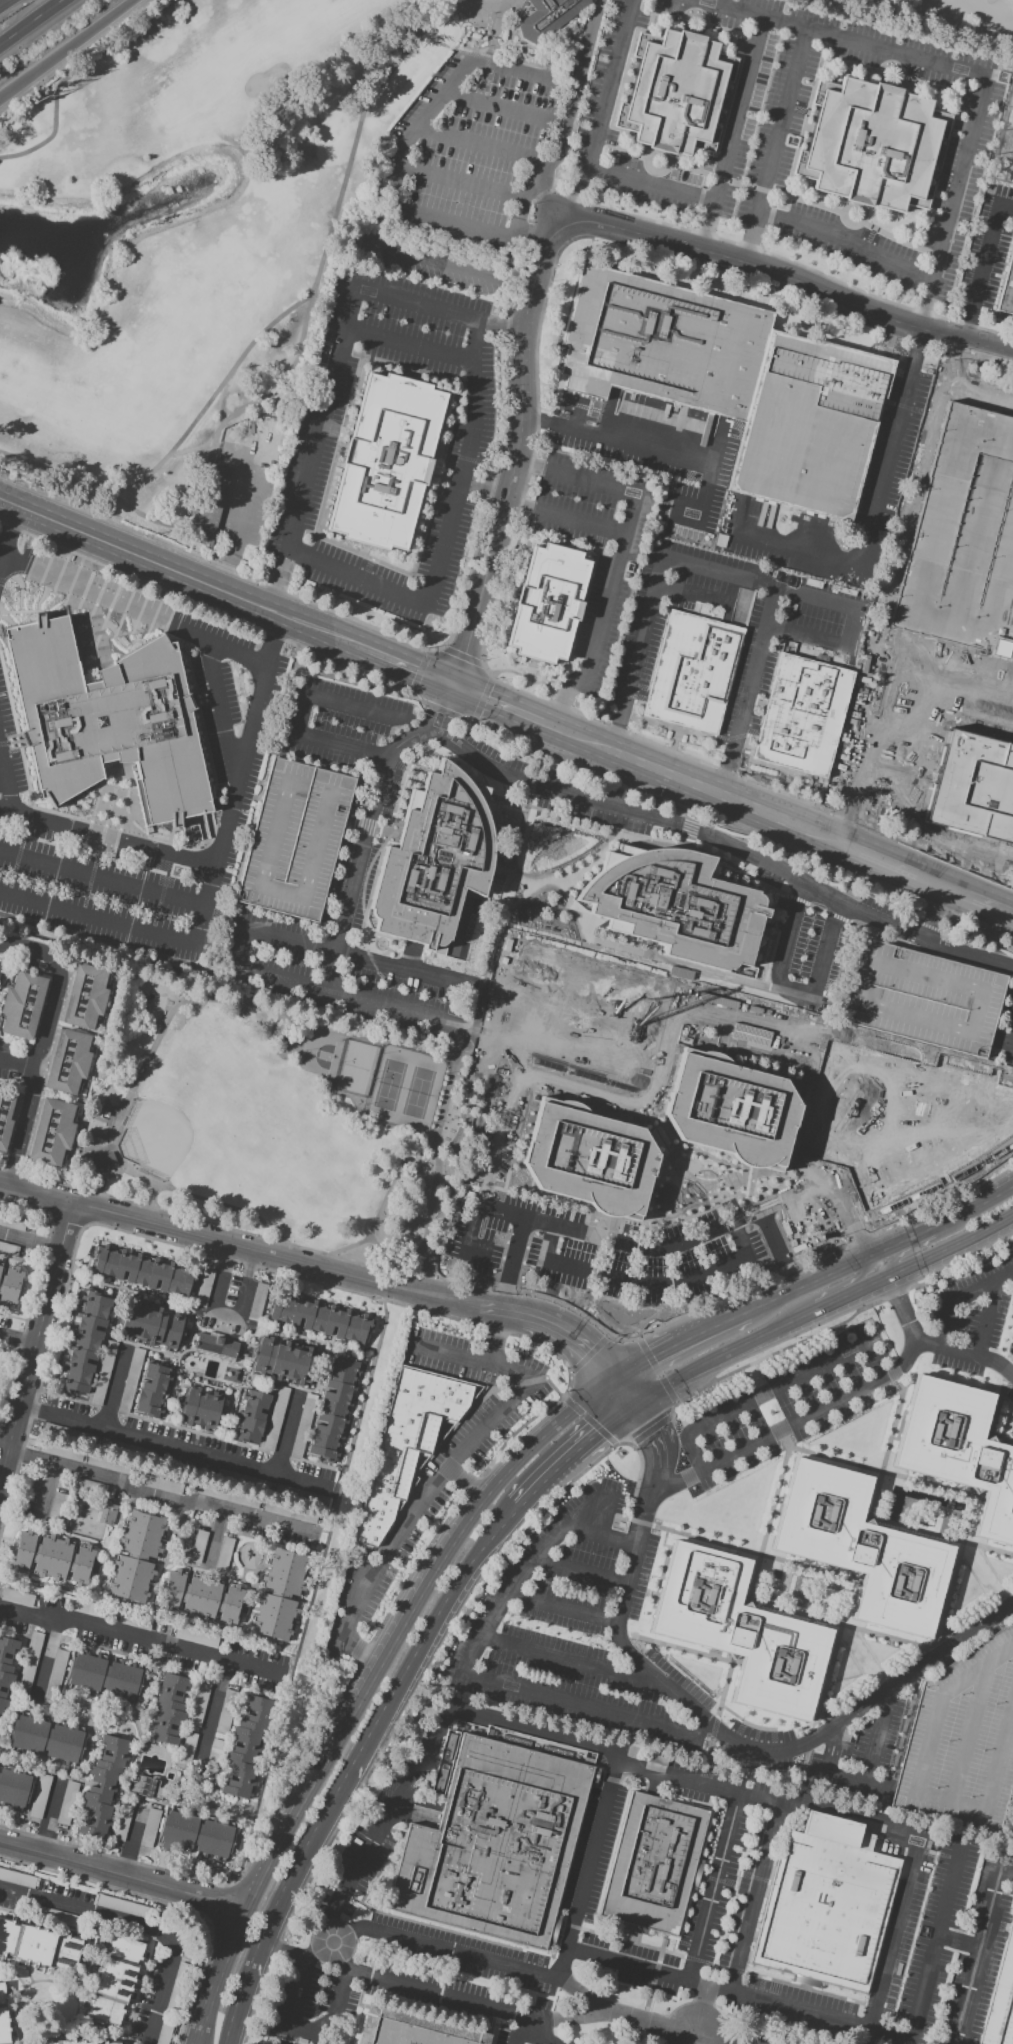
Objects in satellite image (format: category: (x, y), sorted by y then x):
road: (3, 1)
building: (547, 17)
park: (941, 19)
road: (30, 21)
road: (73, 44)
road: (965, 71)
road: (70, 75)
building: (675, 92)
road: (7, 94)
road: (504, 106)
road: (602, 115)
road: (564, 118)
road: (730, 134)
road: (483, 144)
building: (871, 145)
park: (1004, 145)
road: (775, 146)
parking lot: (474, 150)
road: (395, 165)
road: (461, 180)
road: (651, 183)
park: (243, 223)
road: (848, 241)
road: (434, 261)
road: (983, 266)
road: (789, 278)
road: (743, 283)
building: (1006, 288)
road: (735, 299)
road: (281, 314)
road: (500, 325)
building: (661, 343)
road: (407, 344)
building: (810, 426)
road: (652, 449)
road: (314, 450)
road: (516, 455)
building: (386, 462)
road: (463, 473)
road: (484, 486)
road: (521, 492)
building: (210, 504)
road: (878, 509)
road: (564, 519)
road: (7, 530)
building: (962, 537)
road: (619, 554)
road: (178, 571)
road: (725, 574)
building: (548, 603)
road: (133, 608)
road: (211, 609)
road: (352, 618)
road: (461, 655)
road: (406, 667)
road: (417, 672)
building: (690, 673)
traffic signals: (458, 688)
road: (748, 691)
road: (482, 698)
road: (887, 698)
road: (499, 704)
road: (300, 709)
road: (220, 710)
road: (440, 710)
road: (449, 710)
building: (802, 715)
building: (108, 721)
road: (410, 738)
road: (914, 741)
building: (911, 742)
road: (541, 750)
road: (748, 779)
road: (5, 783)
road: (400, 784)
road: (531, 784)
road: (541, 785)
road: (700, 785)
building: (972, 785)
road: (694, 801)
road: (694, 816)
road: (572, 817)
road: (350, 822)
road: (367, 826)
road: (688, 827)
road: (387, 831)
road: (699, 833)
road: (107, 835)
building: (293, 839)
parking lot: (293, 839)
road: (661, 839)
road: (683, 842)
building: (433, 859)
road: (592, 862)
road: (499, 867)
road: (905, 869)
road: (102, 876)
road: (211, 876)
road: (796, 882)
road: (762, 889)
road: (531, 890)
road: (796, 899)
road: (920, 899)
road: (982, 900)
building: (674, 904)
road: (814, 907)
road: (951, 912)
road: (939, 914)
road: (834, 916)
road: (872, 917)
road: (927, 926)
road: (878, 933)
road: (910, 933)
road: (912, 933)
road: (763, 934)
road: (978, 934)
road: (338, 941)
road: (240, 943)
road: (636, 944)
road: (648, 947)
road: (909, 947)
road: (38, 950)
road: (923, 950)
road: (970, 953)
road: (409, 955)
road: (682, 963)
road: (756, 963)
road: (975, 965)
road: (232, 969)
road: (407, 969)
road: (768, 986)
road: (790, 991)
building: (84, 996)
building: (922, 997)
parking garage: (922, 997)
road: (198, 999)
building: (586, 1003)
building: (22, 1005)
road: (463, 1041)
road: (1011, 1041)
park: (319, 1054)
building: (67, 1061)
road: (19, 1063)
park: (354, 1068)
road: (34, 1081)
park: (403, 1088)
building: (730, 1109)
building: (7, 1115)
park: (277, 1123)
building: (51, 1132)
park: (154, 1136)
road: (496, 1138)
building: (588, 1158)
building: (103, 1161)
road: (103, 1176)
road: (35, 1192)
road: (384, 1198)
road: (223, 1205)
road: (261, 1235)
road: (30, 1241)
road: (931, 1243)
parking lot: (544, 1248)
road: (882, 1248)
building: (6, 1249)
road: (472, 1251)
road: (766, 1253)
road: (388, 1261)
road: (520, 1264)
building: (0, 1267)
building: (143, 1271)
road: (353, 1275)
building: (205, 1280)
road: (642, 1280)
building: (11, 1287)
road: (959, 1297)
road: (152, 1298)
building: (260, 1301)
road: (257, 1310)
road: (825, 1310)
road: (903, 1311)
road: (225, 1313)
building: (318, 1317)
road: (720, 1319)
road: (985, 1320)
building: (151, 1326)
road: (495, 1333)
road: (17, 1340)
building: (85, 1343)
road: (35, 1345)
building: (216, 1347)
road: (150, 1349)
road: (654, 1352)
traffic signals: (648, 1357)
road: (470, 1359)
building: (282, 1361)
building: (133, 1362)
road: (325, 1365)
building: (102, 1372)
road: (116, 1384)
road: (211, 1386)
road: (567, 1386)
road: (242, 1389)
road: (773, 1389)
road: (629, 1390)
building: (152, 1391)
road: (92, 1396)
road: (844, 1399)
building: (124, 1400)
building: (200, 1408)
building: (334, 1408)
road: (997, 1408)
building: (251, 1416)
building: (274, 1418)
road: (155, 1420)
road: (895, 1420)
road: (309, 1426)
road: (287, 1430)
traffic signals: (604, 1431)
traffic signals: (658, 1431)
road: (264, 1435)
road: (598, 1435)
road: (1002, 1436)
road: (663, 1440)
road: (172, 1443)
building: (407, 1443)
road: (4, 1451)
building: (957, 1453)
parking lot: (59, 1457)
parking lot: (312, 1471)
road: (466, 1482)
road: (926, 1483)
road: (778, 1484)
road: (541, 1488)
road: (41, 1492)
road: (952, 1494)
road: (160, 1495)
road: (424, 1499)
road: (949, 1504)
building: (106, 1513)
road: (945, 1523)
road: (602, 1535)
road: (941, 1535)
road: (214, 1540)
building: (197, 1546)
building: (857, 1551)
building: (223, 1553)
building: (52, 1557)
building: (136, 1557)
road: (806, 1567)
road: (581, 1572)
park: (335, 1575)
fountain: (777, 1575)
road: (753, 1580)
road: (315, 1588)
building: (280, 1595)
building: (16, 1597)
building: (202, 1597)
road: (565, 1607)
road: (974, 1616)
road: (838, 1624)
building: (740, 1631)
road: (145, 1641)
road: (834, 1649)
road: (361, 1652)
road: (706, 1656)
road: (44, 1659)
building: (28, 1661)
road: (573, 1662)
building: (6, 1667)
road: (898, 1667)
building: (53, 1676)
building: (104, 1676)
road: (476, 1678)
road: (369, 1684)
building: (932, 1690)
building: (198, 1704)
building: (168, 1709)
road: (211, 1714)
building: (220, 1723)
building: (47, 1738)
building: (530, 1743)
road: (733, 1743)
parking lot: (963, 1743)
building: (186, 1746)
building: (247, 1747)
road: (357, 1765)
road: (867, 1773)
road: (677, 1777)
road: (917, 1785)
building: (103, 1786)
building: (14, 1787)
building: (40, 1789)
building: (148, 1789)
road: (390, 1815)
road: (48, 1816)
building: (121, 1821)
building: (148, 1827)
building: (197, 1834)
road: (132, 1840)
building: (493, 1842)
building: (653, 1863)
road: (122, 1877)
building: (17, 1878)
road: (710, 1896)
building: (826, 1904)
building: (125, 1908)
road: (137, 1927)
road: (958, 1940)
building: (38, 1947)
road: (978, 1950)
road: (299, 1959)
building: (116, 1980)
building: (1001, 1998)
road: (463, 2000)
road: (293, 2002)
building: (3, 2016)
building: (415, 2027)
road: (517, 2030)
road: (878, 2030)
road: (542, 2033)
road: (709, 2040)
building: (67, 2042)
building: (33, 2043)

